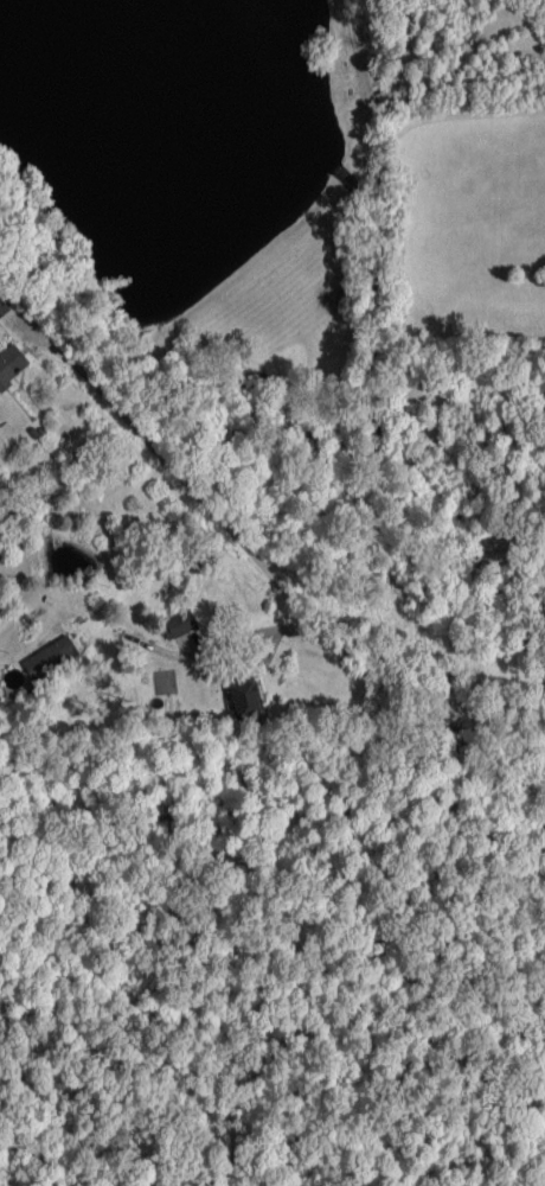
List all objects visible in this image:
building: (2, 307)
building: (11, 364)
building: (198, 556)
road: (264, 563)
building: (179, 624)
road: (257, 635)
building: (50, 657)
building: (244, 691)

